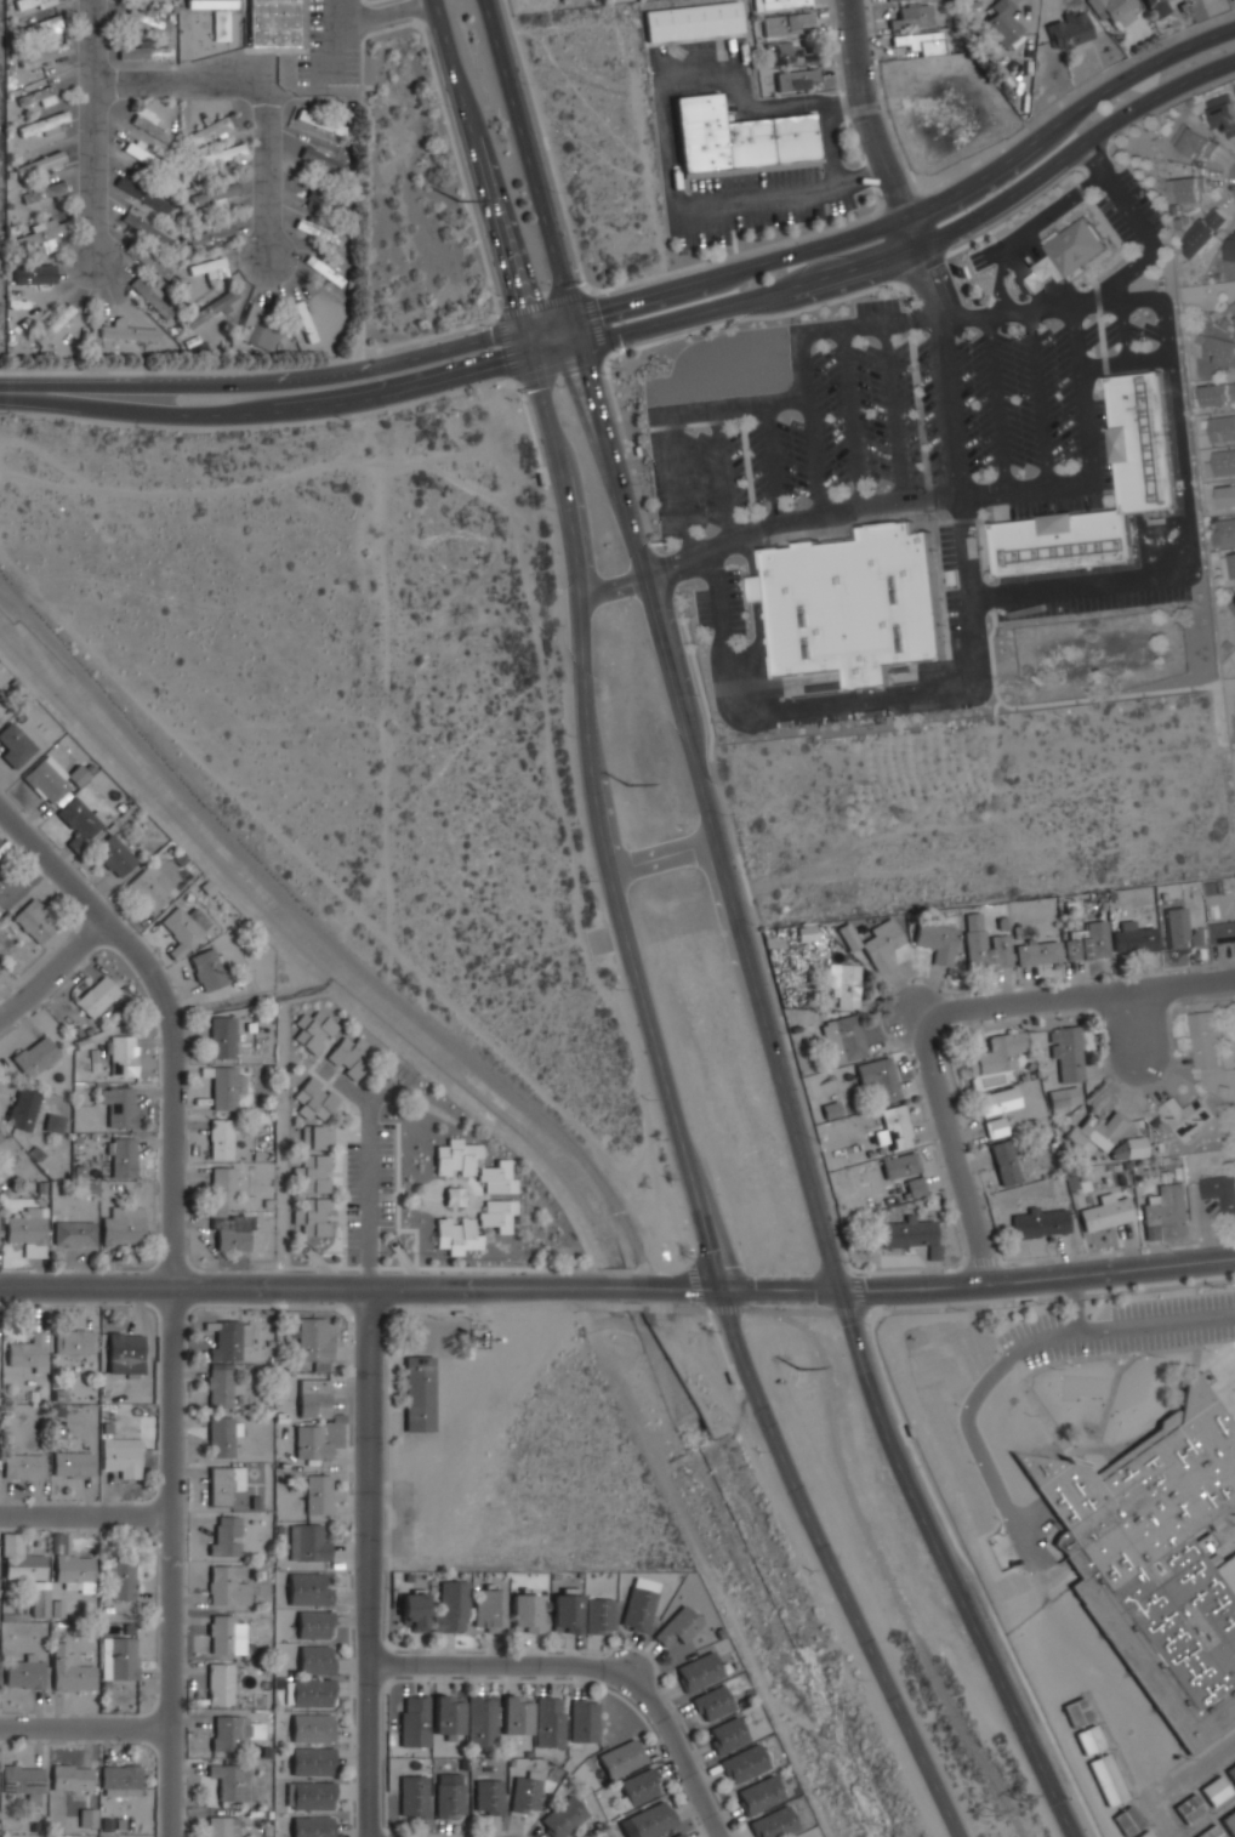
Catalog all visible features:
road: (366, 0)
building: (30, 2)
building: (209, 2)
building: (1150, 2)
building: (784, 4)
building: (1114, 8)
road: (414, 11)
road: (383, 15)
building: (910, 17)
building: (143, 19)
building: (693, 21)
building: (1002, 22)
building: (275, 23)
building: (786, 23)
building: (40, 28)
building: (1069, 30)
road: (332, 38)
building: (920, 42)
building: (143, 52)
building: (790, 52)
building: (44, 53)
road: (433, 74)
building: (795, 80)
road: (181, 83)
street lamp: (524, 83)
building: (38, 96)
street lamp: (445, 106)
building: (1223, 113)
road: (1066, 118)
building: (41, 124)
building: (148, 124)
road: (870, 126)
road: (96, 129)
road: (666, 129)
building: (210, 130)
building: (700, 131)
building: (791, 137)
building: (746, 142)
building: (1194, 142)
road: (827, 144)
road: (1074, 149)
building: (220, 155)
road: (528, 157)
road: (1093, 159)
building: (320, 160)
building: (39, 164)
road: (477, 164)
road: (267, 175)
road: (1054, 184)
building: (1186, 189)
building: (42, 192)
building: (143, 192)
building: (215, 193)
power tower: (456, 199)
building: (325, 204)
parking lot: (1128, 209)
building: (143, 228)
road: (1025, 229)
building: (315, 232)
building: (1203, 232)
building: (41, 234)
building: (210, 234)
road: (517, 234)
road: (1149, 241)
building: (1231, 250)
building: (1062, 255)
building: (146, 260)
building: (206, 266)
road: (921, 267)
road: (1108, 267)
building: (321, 271)
building: (33, 273)
road: (715, 274)
road: (1029, 275)
building: (149, 297)
traffic signals: (517, 302)
road: (537, 302)
road: (724, 303)
building: (210, 307)
traffic signals: (599, 307)
building: (1233, 307)
road: (907, 318)
building: (303, 320)
building: (250, 323)
road: (887, 323)
building: (53, 324)
street lamp: (484, 326)
building: (127, 332)
parking lot: (1115, 332)
road: (1123, 334)
road: (503, 347)
building: (1219, 351)
road: (1154, 360)
traffic signals: (502, 364)
road: (559, 366)
traffic signals: (593, 368)
road: (286, 380)
road: (22, 392)
building: (1218, 393)
road: (611, 396)
road: (1081, 396)
road: (571, 397)
parking lot: (1015, 399)
road: (1037, 402)
street lamp: (525, 404)
road: (996, 404)
road: (290, 409)
road: (892, 411)
road: (852, 417)
road: (951, 420)
road: (527, 422)
building: (1222, 428)
road: (813, 438)
parking lot: (808, 440)
building: (1137, 442)
parking lot: (1103, 443)
building: (634, 451)
road: (770, 461)
building: (1223, 462)
road: (723, 473)
building: (536, 478)
road: (682, 487)
road: (928, 493)
building: (1227, 497)
parking lot: (1057, 505)
road: (751, 506)
road: (829, 516)
road: (958, 522)
building: (1224, 531)
road: (981, 551)
building: (1233, 564)
road: (1191, 576)
road: (756, 590)
road: (985, 595)
road: (719, 602)
building: (849, 603)
parking lot: (721, 604)
road: (744, 653)
road: (878, 696)
road: (1093, 698)
building: (13, 741)
building: (76, 775)
building: (46, 779)
power tower: (627, 784)
road: (706, 800)
road: (596, 811)
building: (78, 818)
road: (662, 852)
building: (112, 854)
building: (6, 887)
building: (149, 887)
building: (34, 920)
building: (182, 927)
building: (1176, 927)
building: (1222, 932)
building: (806, 933)
building: (848, 937)
building: (1132, 939)
building: (935, 942)
building: (1087, 942)
building: (881, 945)
building: (981, 945)
building: (1036, 952)
building: (205, 968)
road: (52, 969)
building: (843, 984)
road: (1074, 990)
building: (95, 996)
building: (312, 1030)
building: (220, 1037)
building: (1205, 1037)
building: (842, 1040)
building: (995, 1053)
building: (1065, 1053)
building: (33, 1054)
building: (120, 1054)
building: (347, 1057)
building: (877, 1079)
building: (221, 1086)
building: (1063, 1097)
building: (312, 1099)
building: (998, 1101)
building: (118, 1104)
building: (21, 1108)
building: (830, 1110)
building: (1185, 1114)
building: (52, 1122)
building: (994, 1125)
building: (893, 1128)
building: (1097, 1130)
building: (218, 1137)
building: (315, 1137)
road: (951, 1145)
building: (1128, 1150)
building: (119, 1156)
building: (454, 1156)
road: (369, 1161)
building: (1004, 1161)
building: (899, 1165)
building: (312, 1172)
building: (495, 1176)
road: (596, 1185)
building: (915, 1187)
building: (221, 1188)
building: (1219, 1190)
building: (453, 1195)
building: (1162, 1208)
building: (1105, 1211)
building: (495, 1213)
building: (311, 1216)
building: (1040, 1222)
building: (120, 1225)
building: (25, 1230)
building: (73, 1233)
building: (229, 1233)
building: (455, 1234)
building: (910, 1235)
road: (1037, 1278)
road: (292, 1285)
road: (611, 1286)
road: (678, 1287)
road: (780, 1287)
road: (171, 1291)
road: (1127, 1326)
building: (226, 1338)
building: (73, 1341)
building: (312, 1341)
building: (24, 1353)
building: (124, 1353)
street lamp: (997, 1353)
power tower: (796, 1363)
building: (218, 1384)
building: (417, 1393)
building: (313, 1398)
street lamp: (957, 1406)
building: (906, 1431)
road: (967, 1431)
building: (220, 1434)
building: (309, 1441)
building: (119, 1456)
building: (69, 1463)
street lamp: (972, 1463)
building: (21, 1466)
building: (218, 1485)
building: (317, 1494)
road: (85, 1515)
building: (222, 1535)
building: (306, 1542)
building: (17, 1559)
building: (1155, 1560)
road: (368, 1562)
road: (954, 1564)
building: (67, 1565)
road: (830, 1565)
building: (121, 1577)
building: (226, 1585)
building: (307, 1588)
building: (38, 1602)
building: (638, 1603)
building: (449, 1608)
building: (486, 1609)
building: (524, 1613)
building: (563, 1613)
building: (411, 1614)
building: (597, 1615)
building: (312, 1623)
building: (675, 1626)
building: (224, 1633)
building: (116, 1657)
building: (314, 1659)
road: (590, 1668)
building: (68, 1670)
building: (23, 1671)
building: (698, 1672)
building: (217, 1682)
building: (307, 1693)
building: (711, 1704)
building: (1077, 1713)
building: (513, 1714)
building: (445, 1716)
building: (480, 1721)
building: (582, 1721)
building: (412, 1722)
building: (547, 1722)
road: (85, 1724)
building: (311, 1728)
building: (226, 1730)
building: (724, 1735)
building: (1089, 1740)
building: (620, 1757)
building: (311, 1761)
building: (741, 1763)
building: (1230, 1771)
building: (69, 1776)
building: (116, 1779)
building: (22, 1780)
building: (228, 1780)
building: (1109, 1780)
building: (637, 1786)
building: (1214, 1791)
building: (523, 1792)
building: (309, 1795)
building: (411, 1796)
building: (757, 1796)
building: (485, 1797)
power tower: (1023, 1799)
building: (448, 1801)
building: (1190, 1808)
power tower: (988, 1812)
building: (560, 1816)
building: (650, 1820)
building: (1128, 1820)
building: (1229, 1821)
building: (772, 1824)
building: (220, 1826)
building: (311, 1826)
building: (1210, 1832)
building: (1144, 1833)
building: (586, 1835)
building: (676, 1835)

